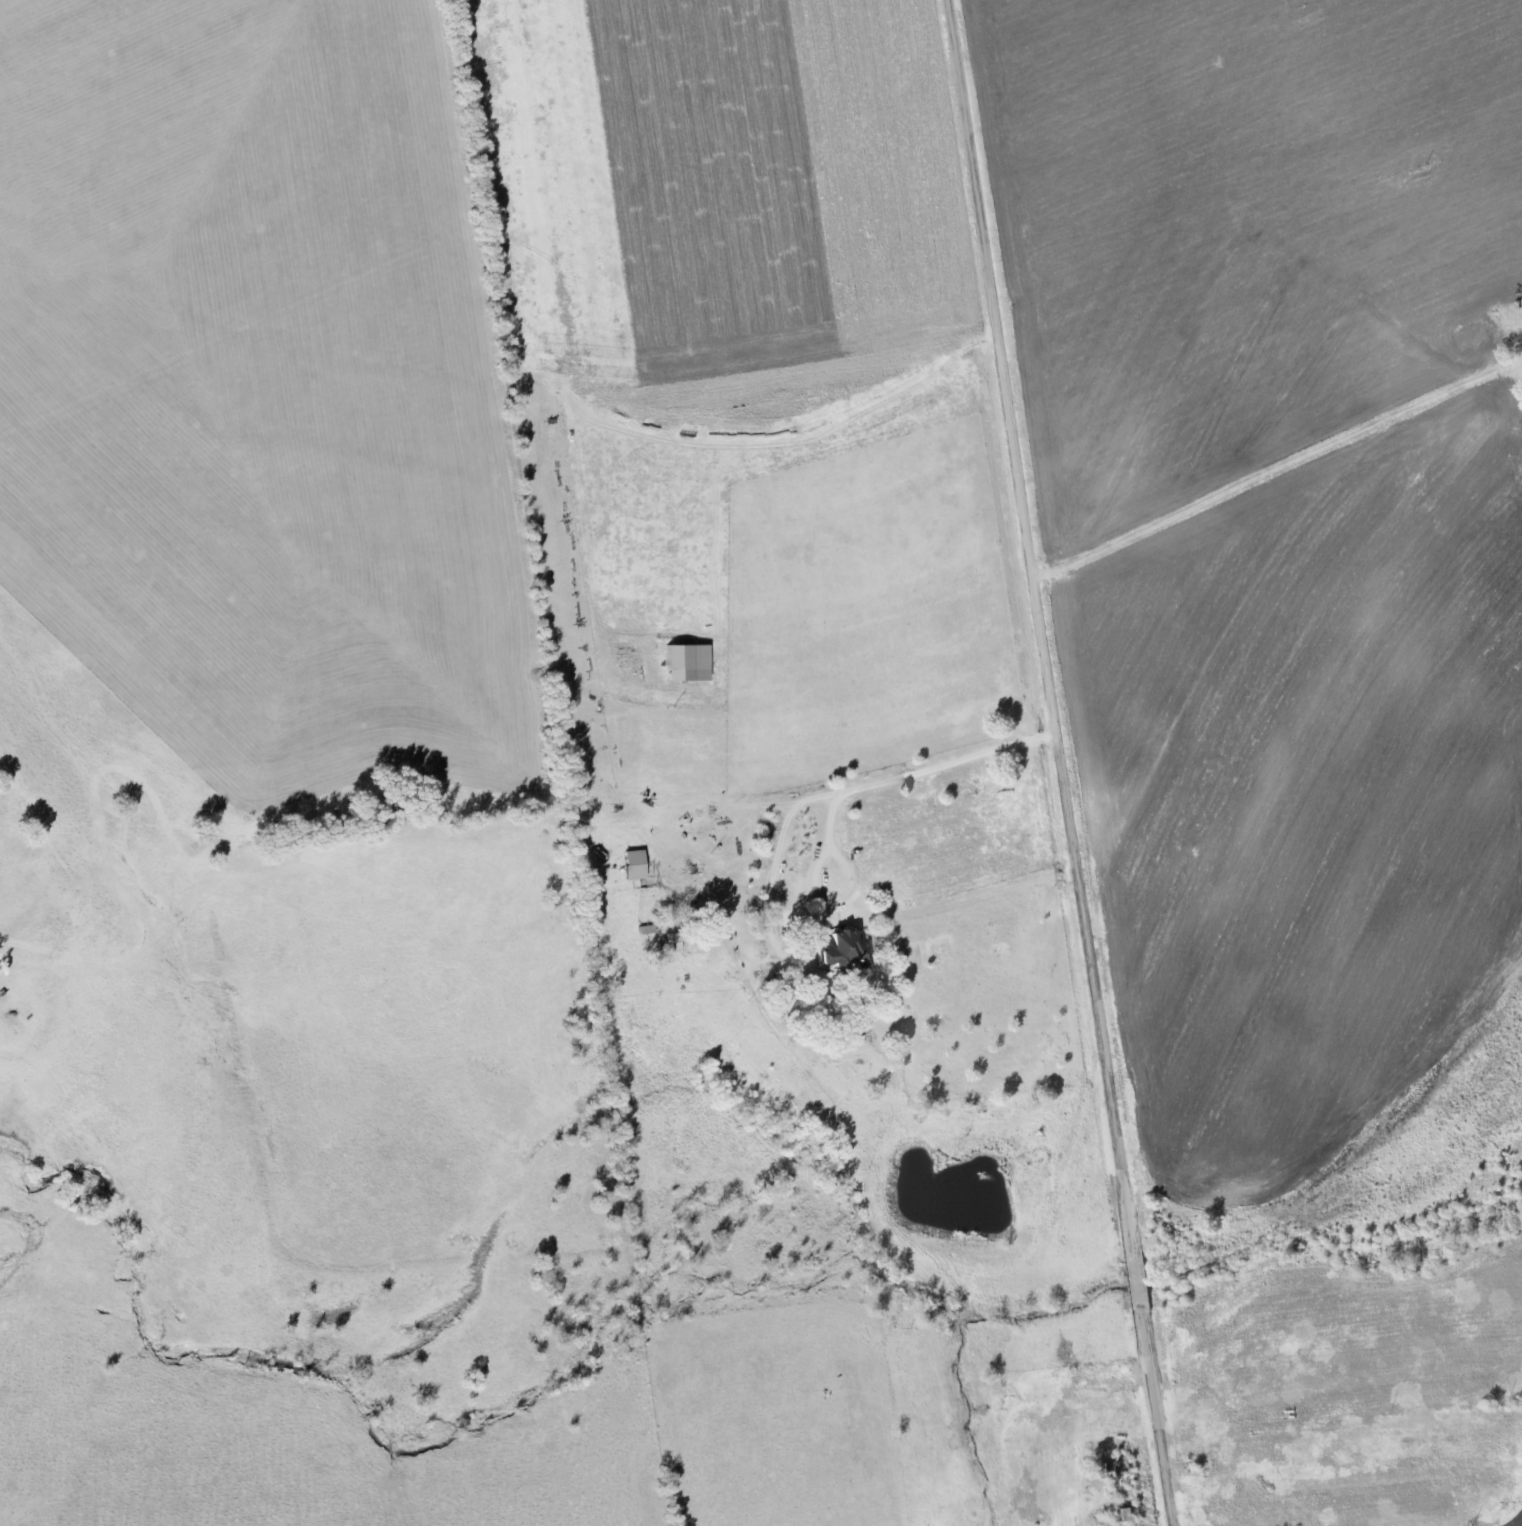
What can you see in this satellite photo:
road: (1284, 475)
building: (684, 662)
road: (1063, 762)
road: (852, 790)
road: (776, 860)
building: (632, 864)
building: (841, 949)

